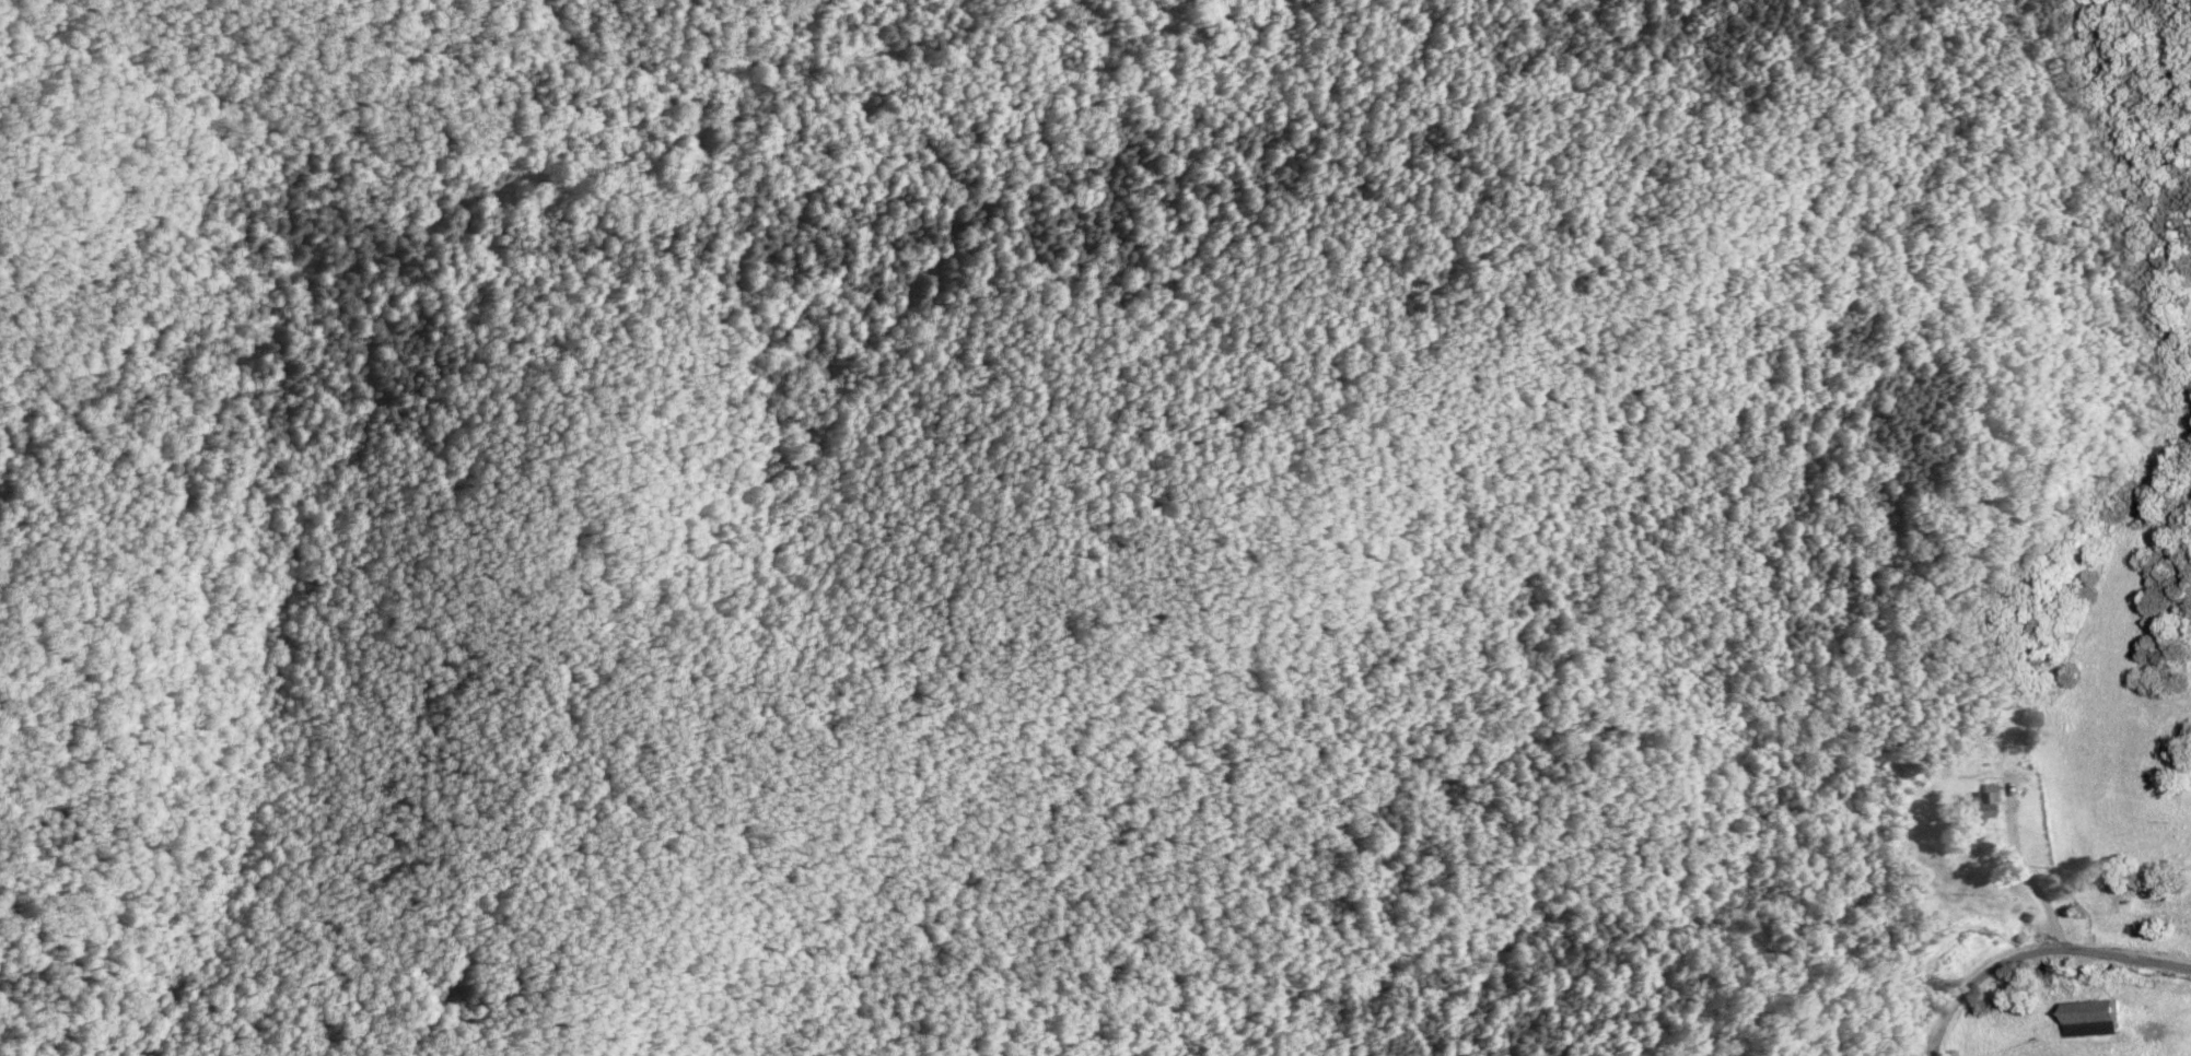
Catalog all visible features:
road: (2027, 867)
road: (2033, 950)
building: (2100, 1020)

